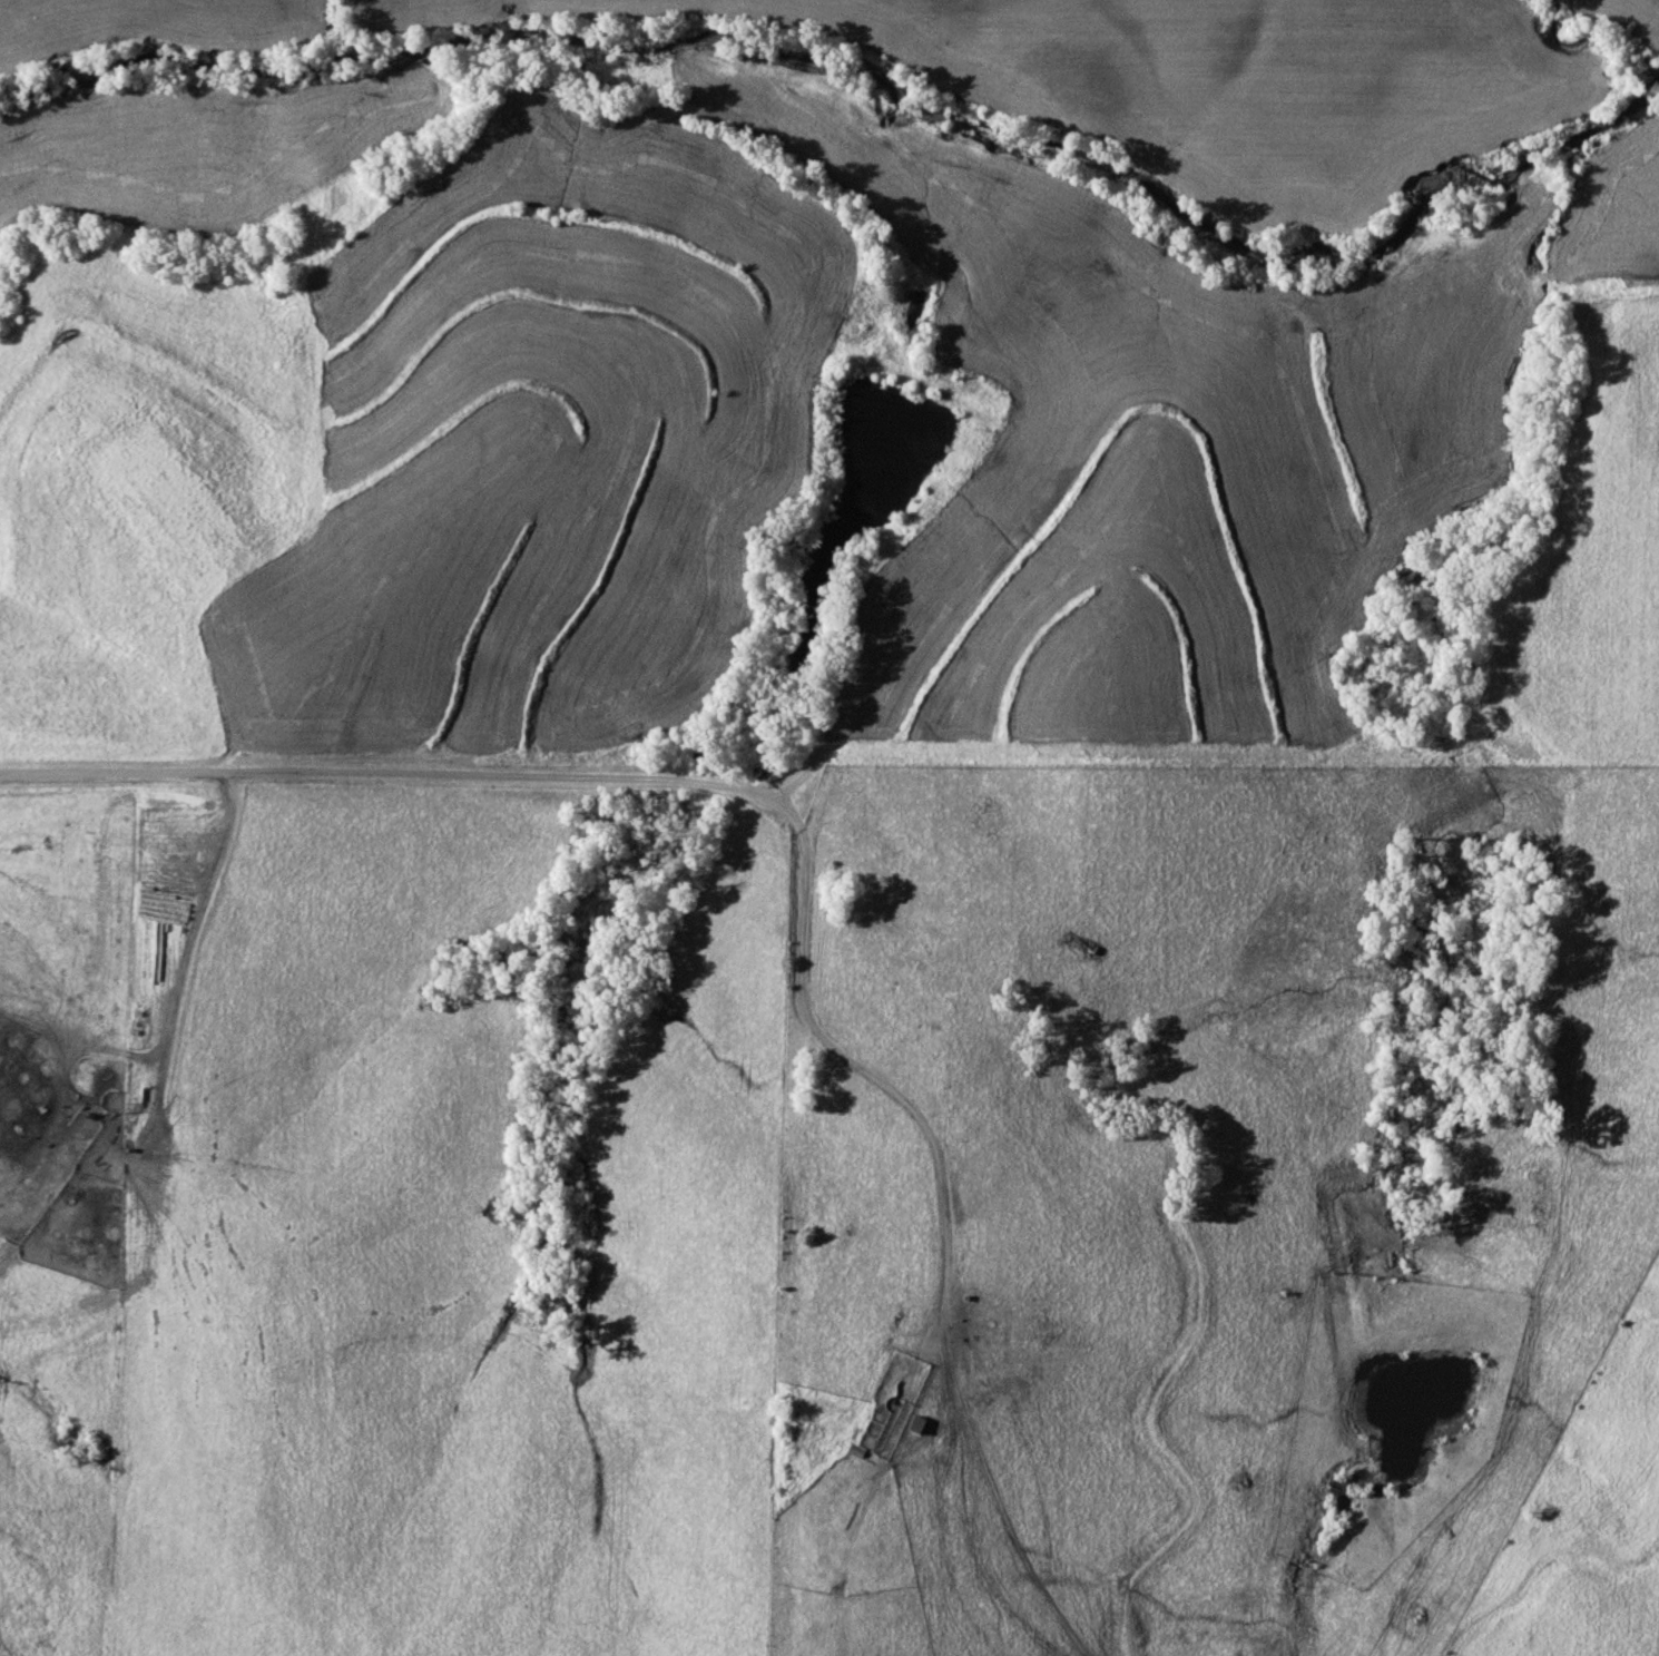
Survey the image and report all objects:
road: (647, 792)
building: (915, 1425)

